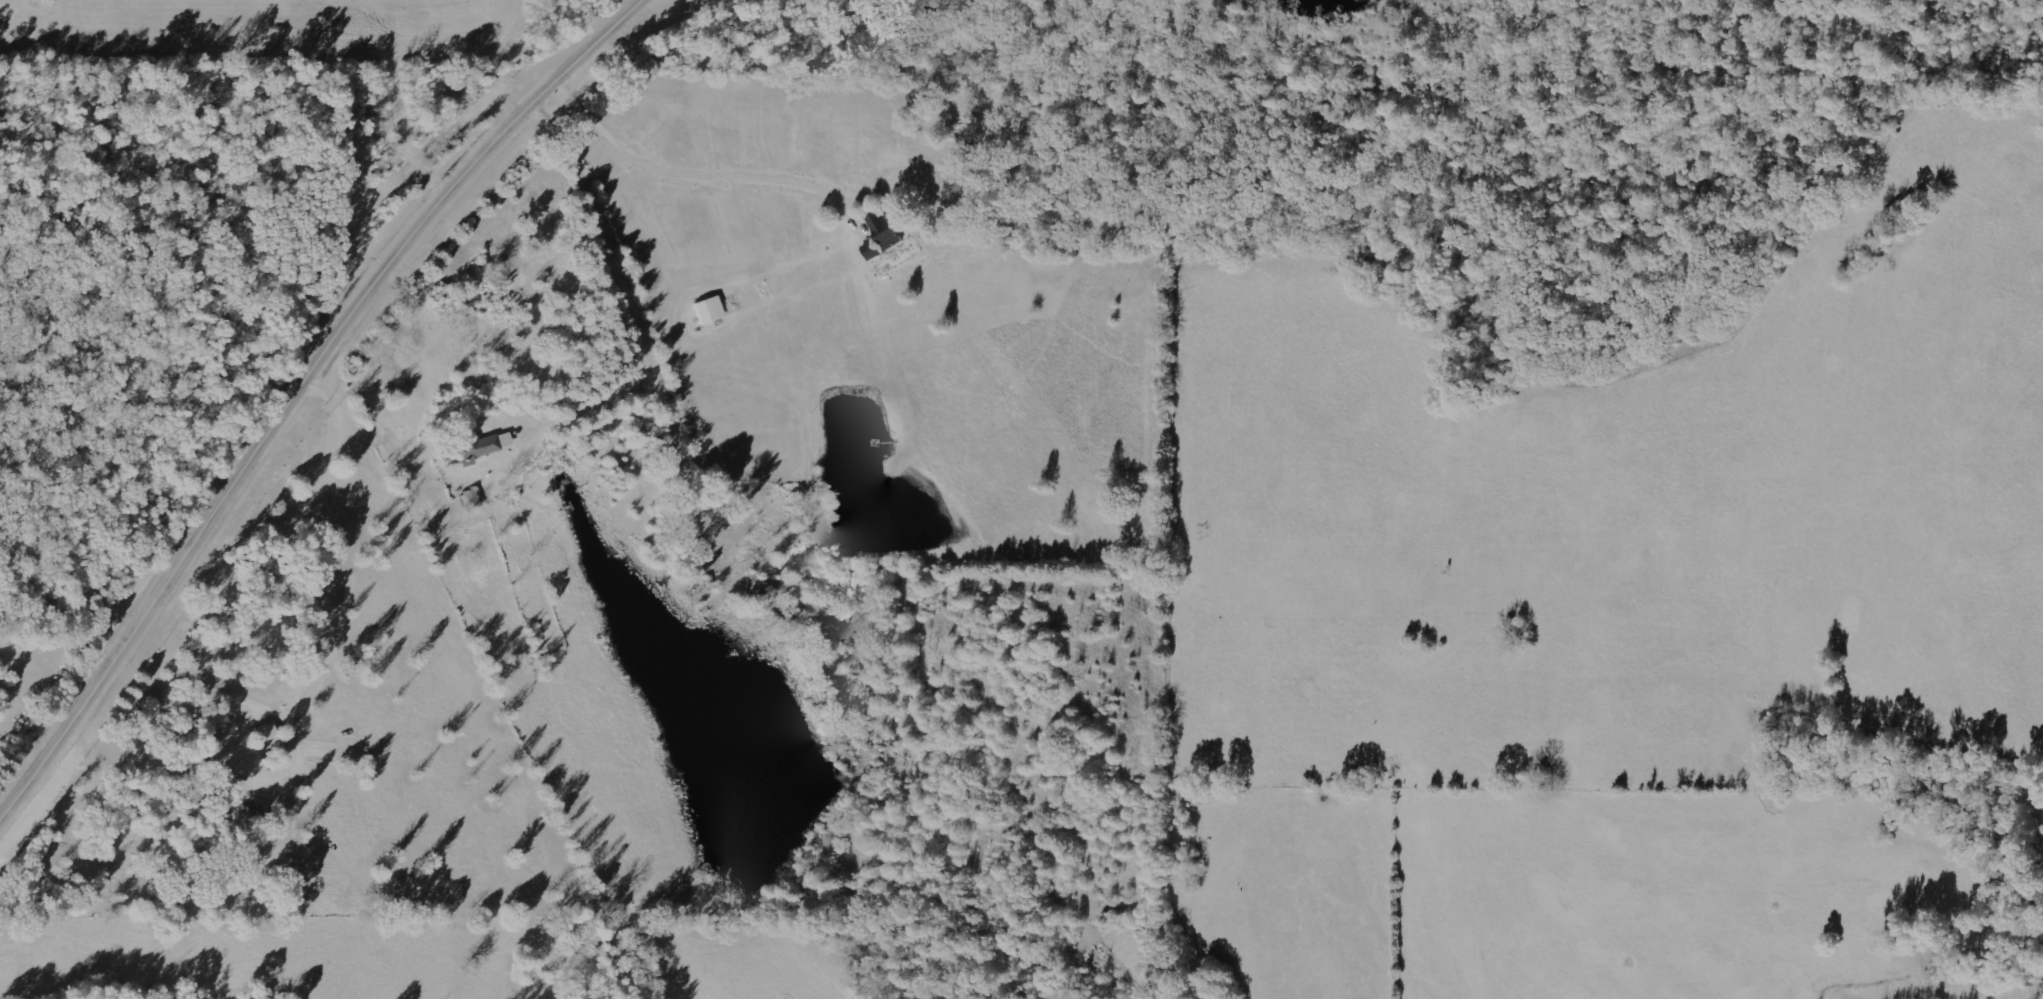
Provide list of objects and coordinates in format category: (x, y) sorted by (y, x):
road: (698, 167)
building: (883, 235)
building: (708, 309)
road: (188, 355)
road: (640, 370)
road: (296, 386)
building: (474, 448)
road: (55, 648)

